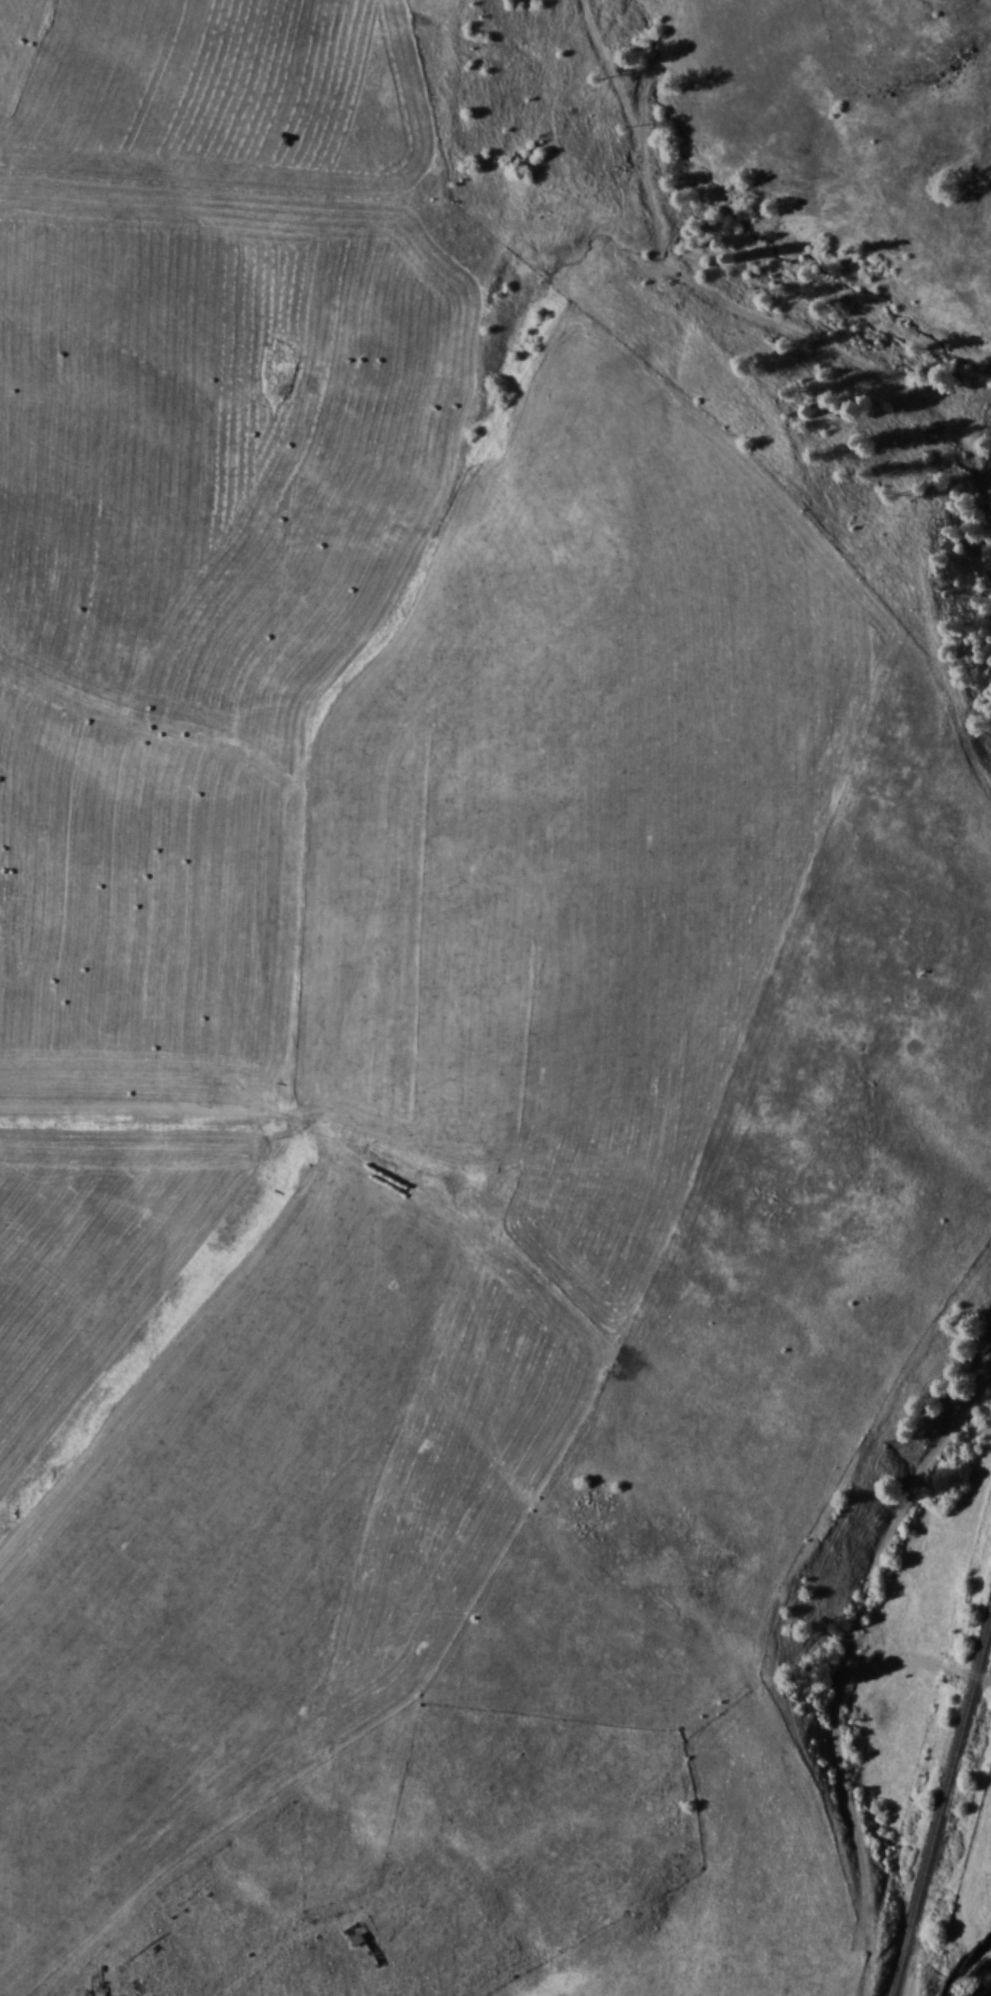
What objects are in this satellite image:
railway: (941, 1808)
building: (359, 1938)

